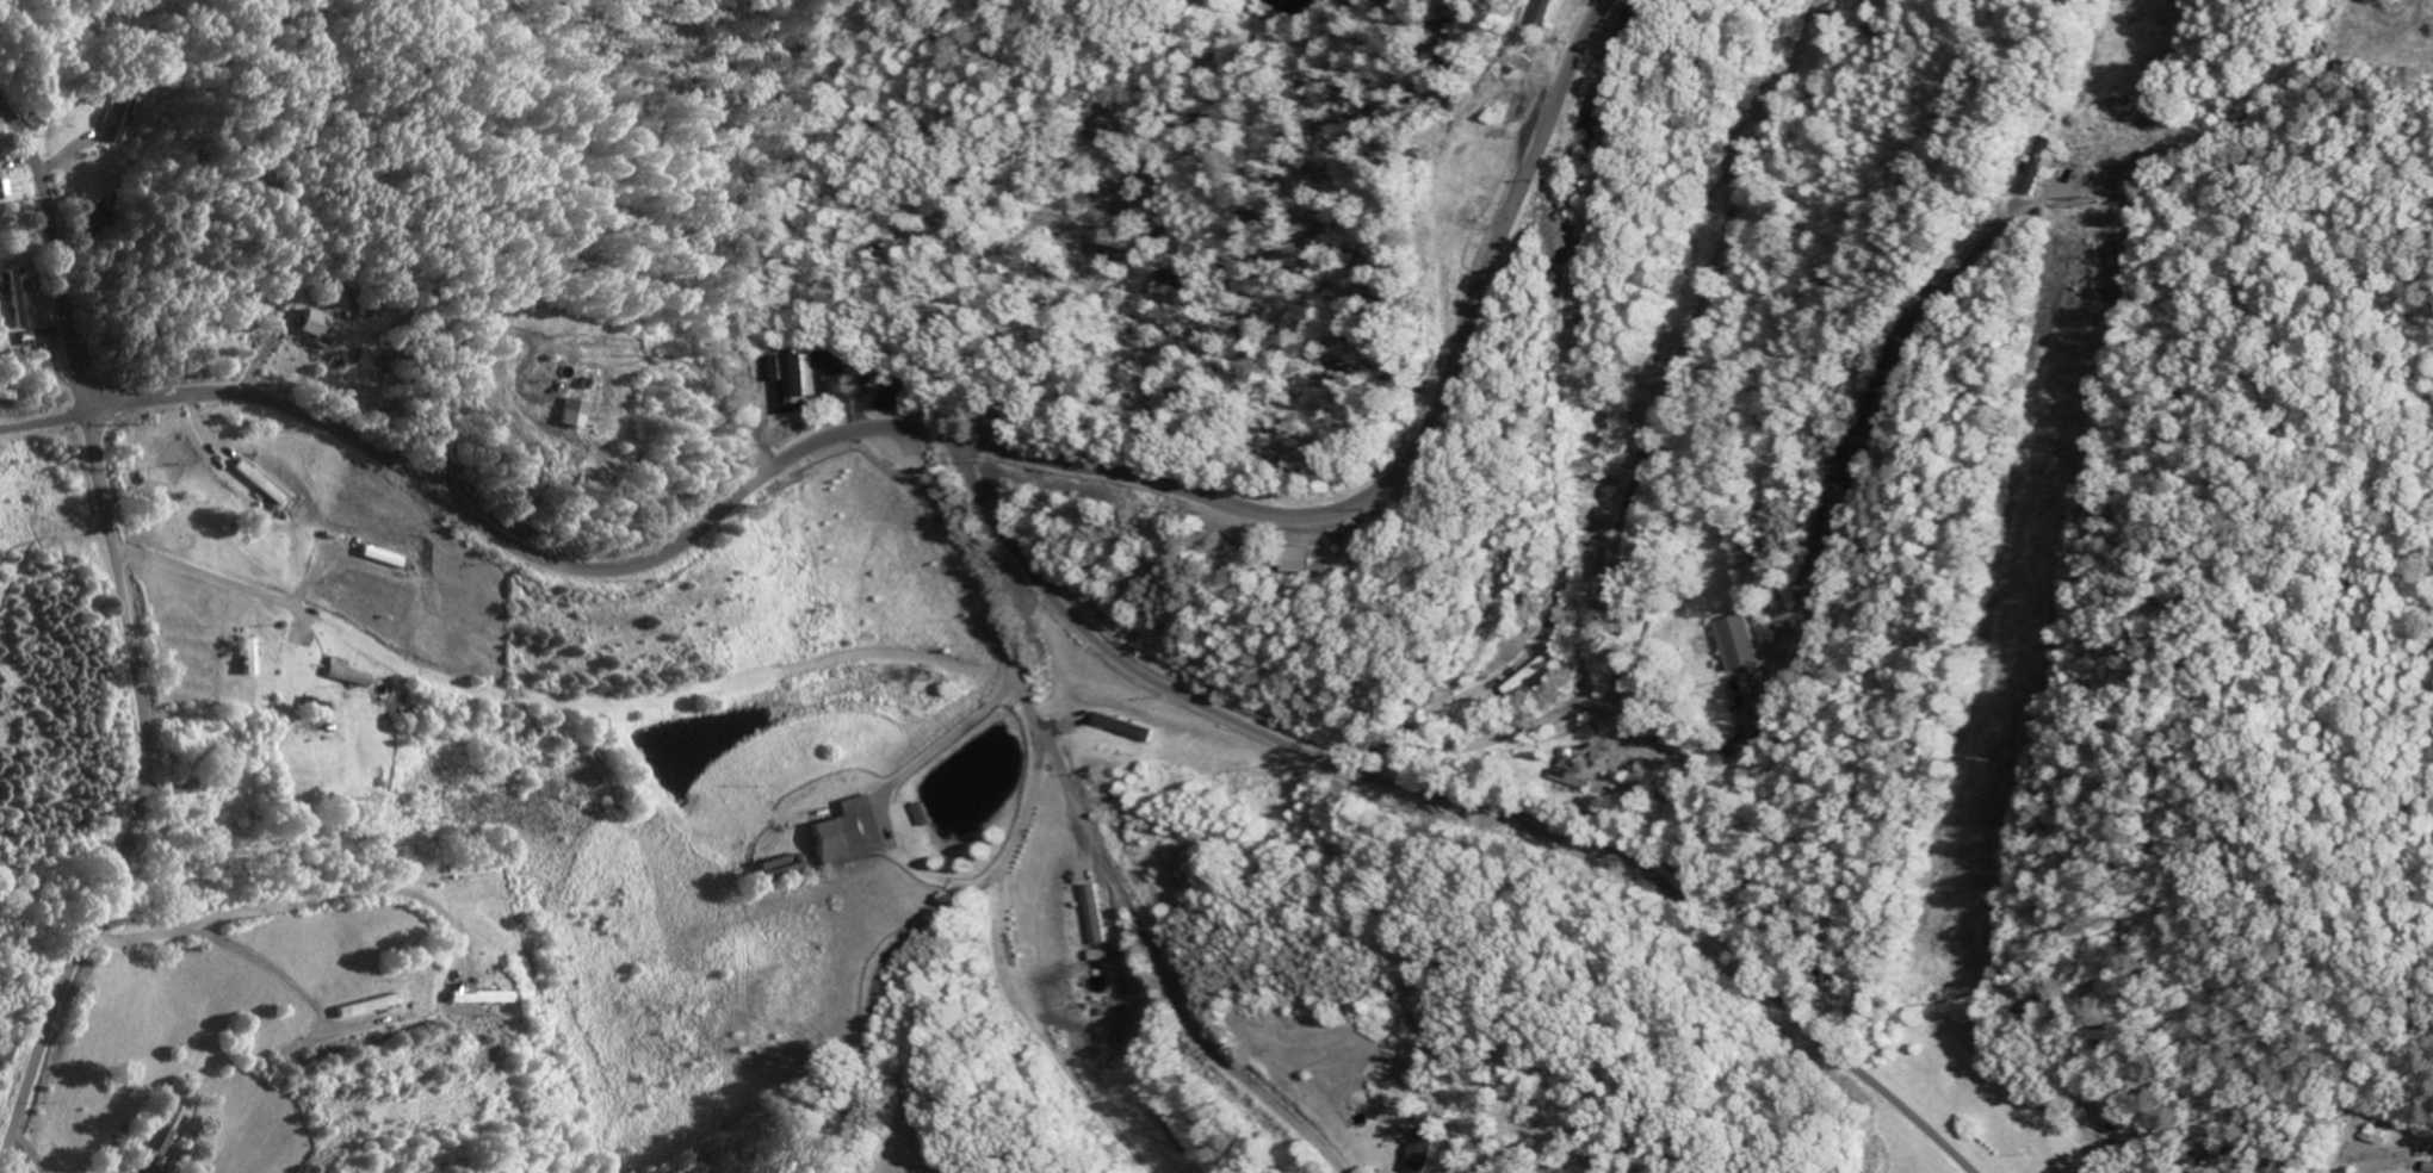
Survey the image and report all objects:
building: (1570, 0)
building: (1552, 13)
building: (119, 122)
building: (2048, 165)
building: (5, 187)
power tower: (2107, 194)
building: (98, 222)
road: (60, 256)
building: (24, 302)
building: (329, 330)
road: (1898, 377)
building: (776, 379)
building: (799, 381)
road: (52, 424)
road: (980, 446)
road: (149, 557)
building: (388, 559)
building: (1302, 563)
road: (999, 638)
building: (1736, 646)
building: (352, 676)
building: (1533, 679)
road: (1552, 715)
building: (1125, 730)
power tower: (1988, 758)
road: (1456, 799)
road: (143, 803)
building: (922, 817)
building: (853, 834)
building: (787, 870)
road: (286, 907)
building: (1092, 917)
road: (936, 919)
road: (1158, 972)
building: (484, 1000)
building: (374, 1010)
building: (172, 1135)
building: (1425, 1153)
building: (2429, 1168)

